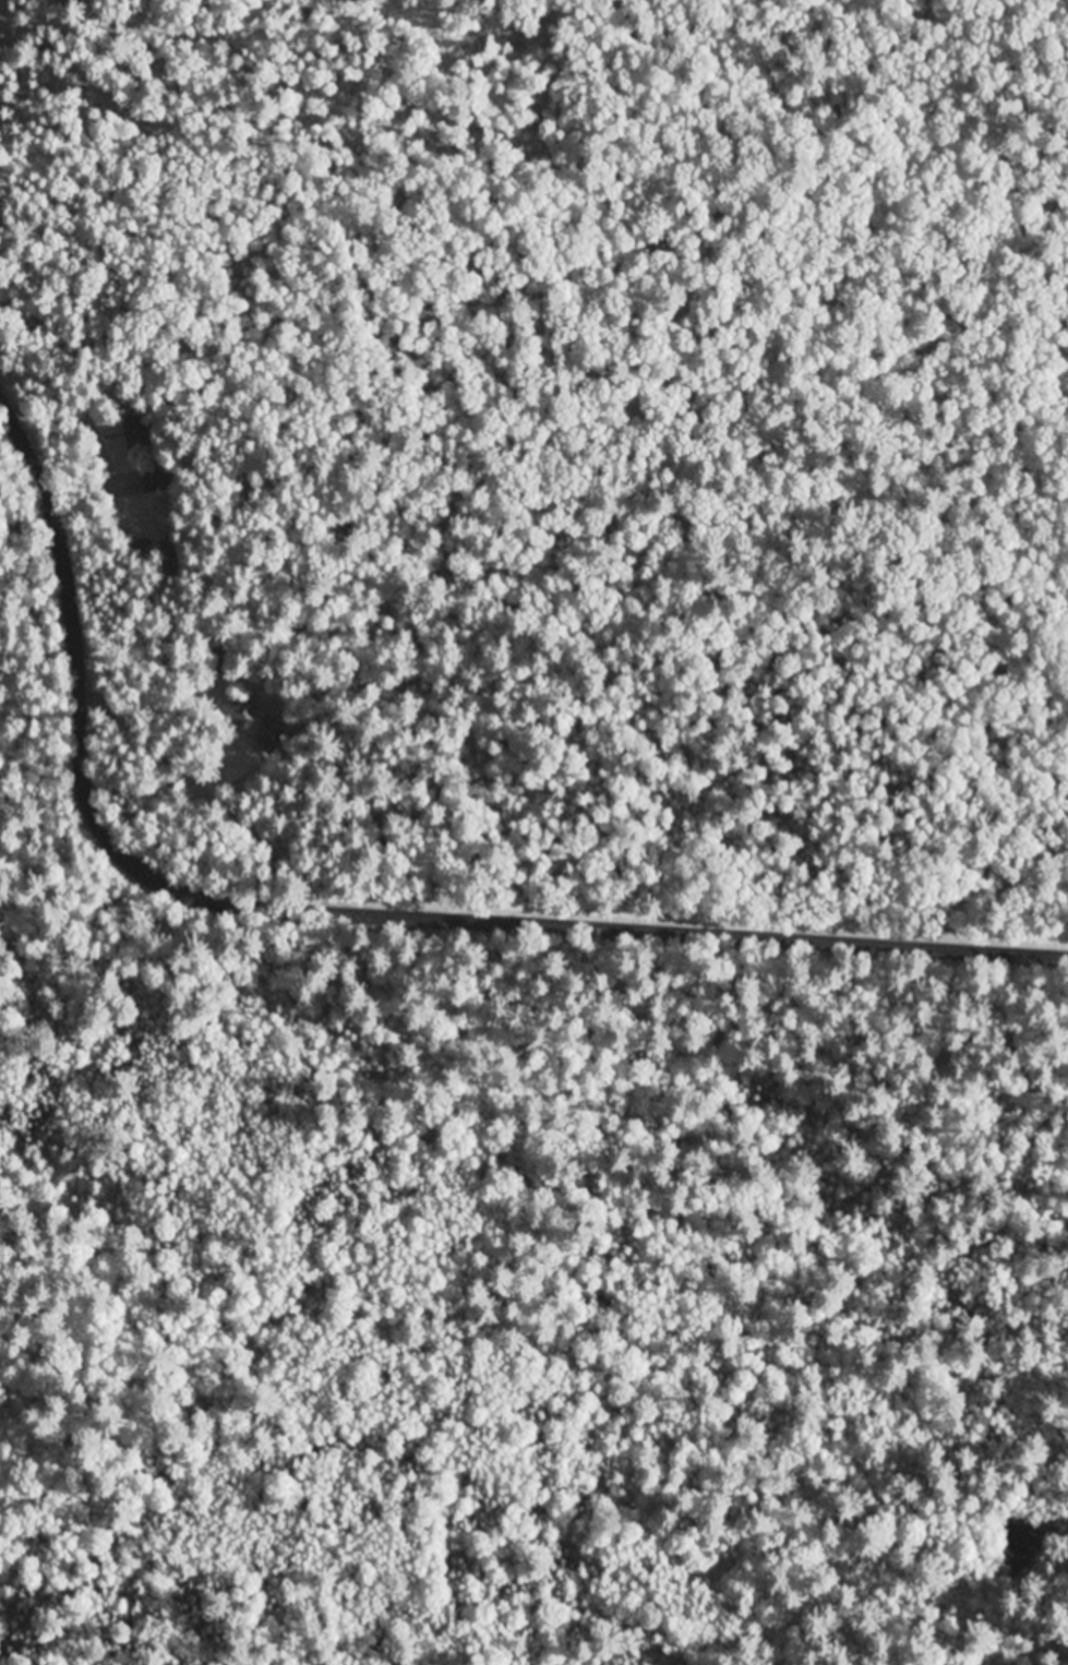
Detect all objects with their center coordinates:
building: (249, 724)
road: (356, 902)

